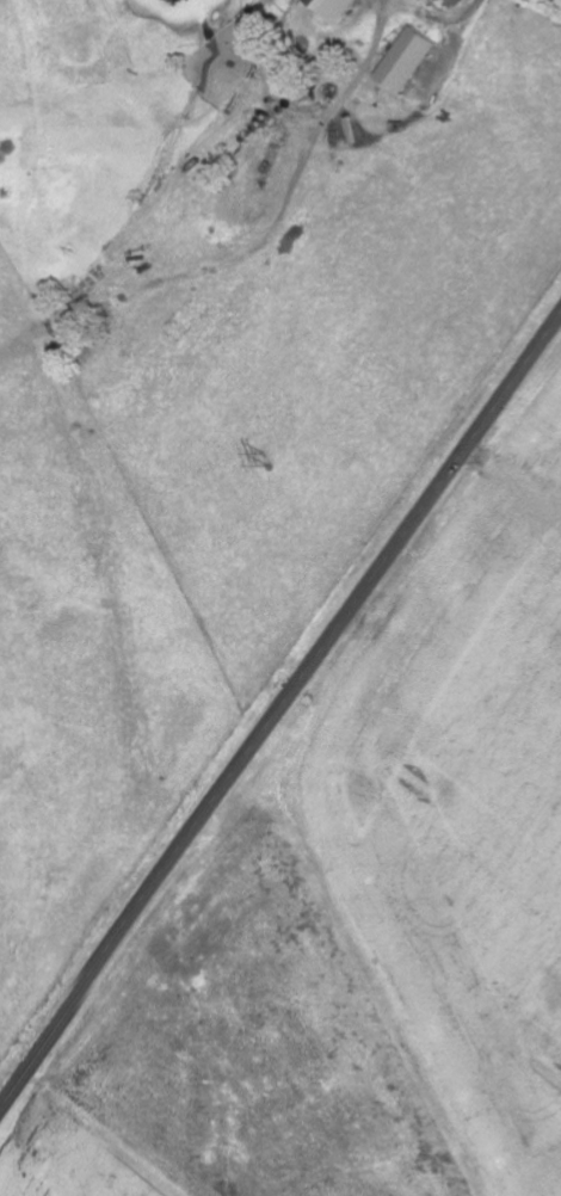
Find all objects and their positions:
building: (460, 1)
building: (341, 8)
building: (414, 61)
road: (279, 711)

